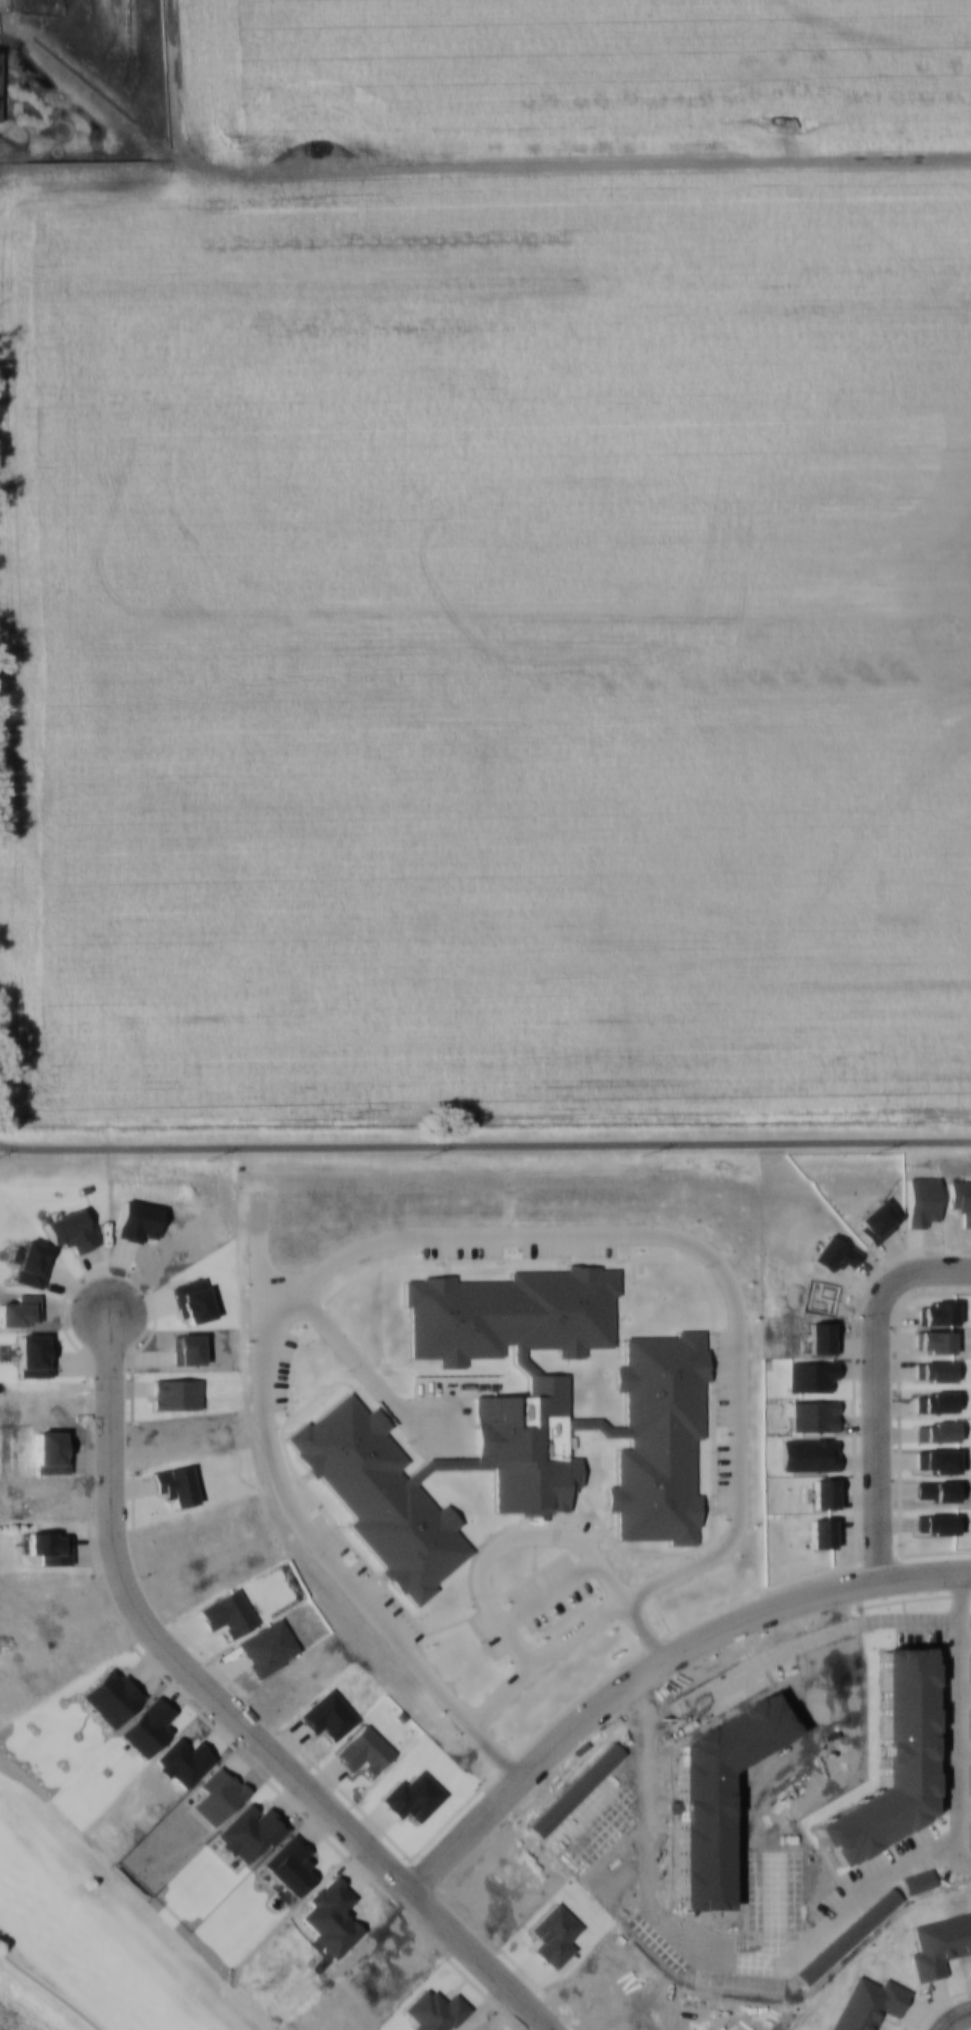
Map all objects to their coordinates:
building: (0, 83)
road: (498, 168)
road: (485, 1146)
road: (876, 1387)
road: (657, 1665)
road: (234, 1710)
park: (83, 1922)
road: (48, 1990)
road: (956, 2018)

